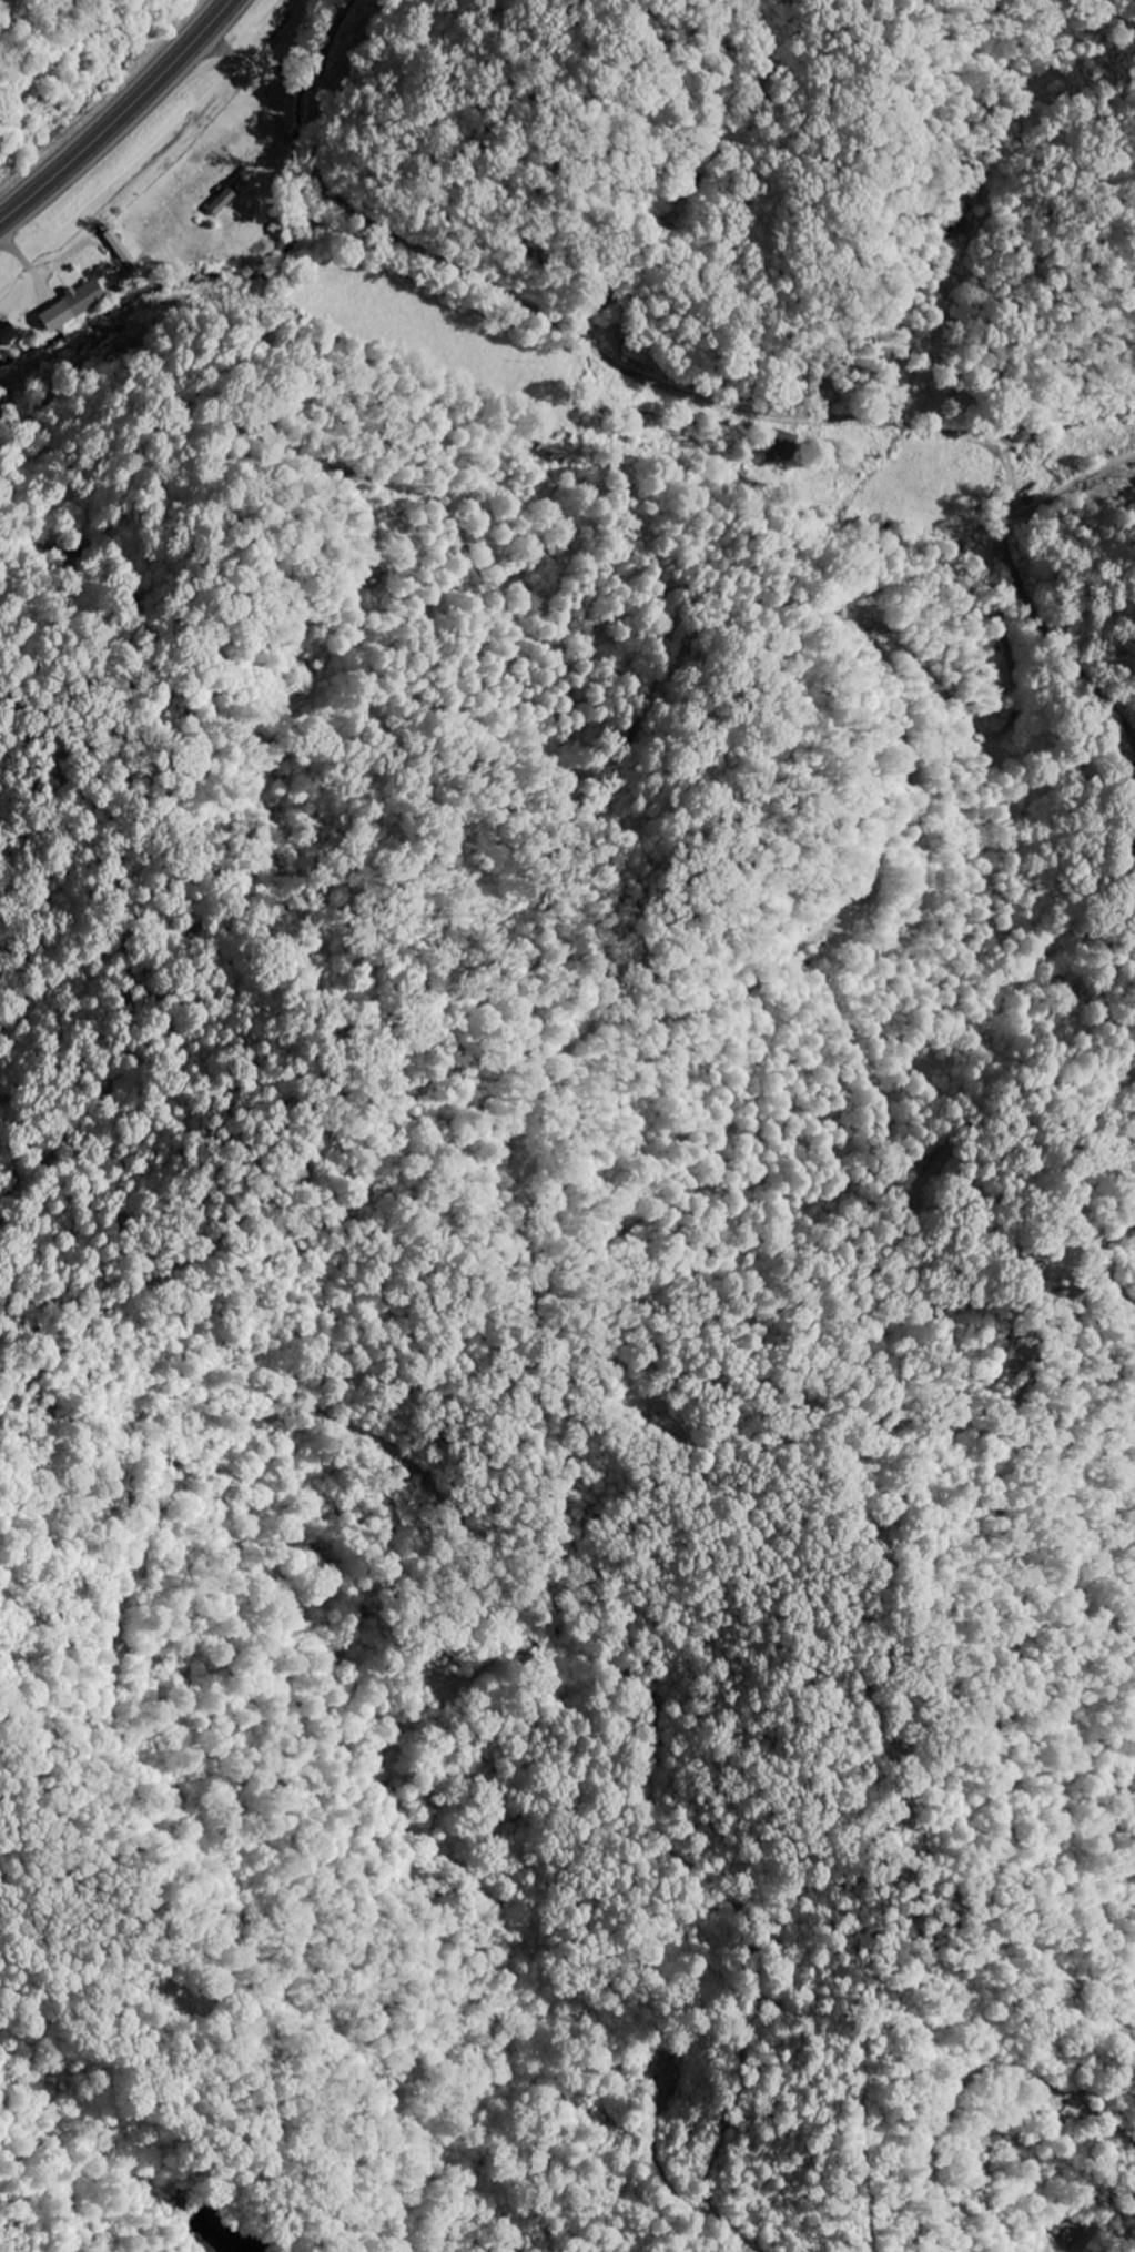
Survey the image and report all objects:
road: (122, 118)
road: (326, 120)
building: (73, 306)
building: (8, 334)
road: (731, 386)
building: (782, 446)
building: (555, 448)

